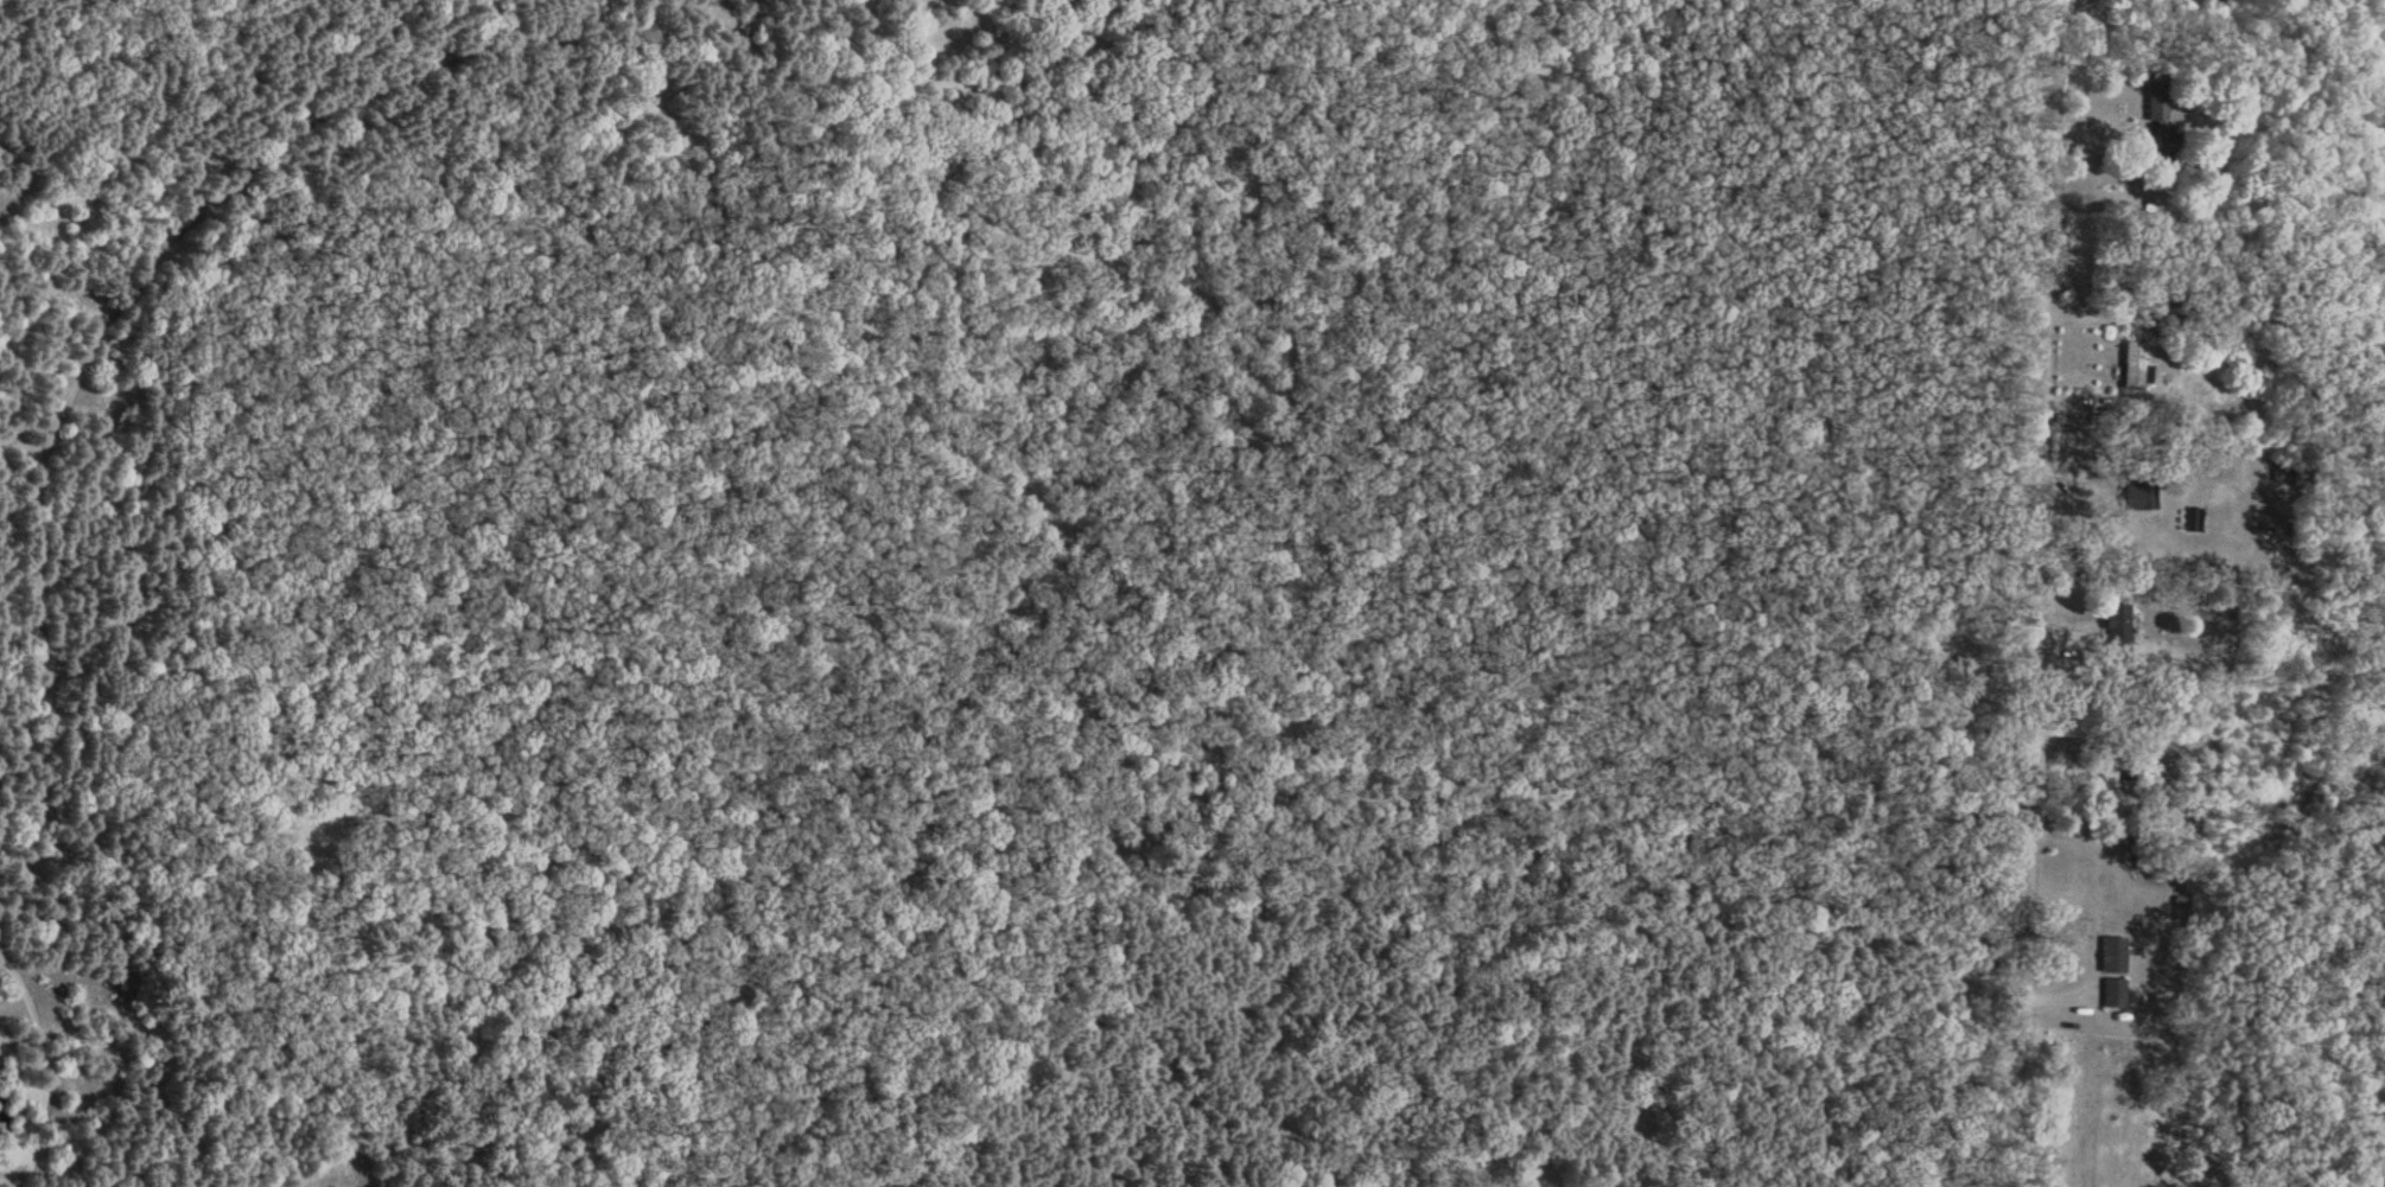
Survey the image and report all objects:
building: (2161, 121)
building: (2132, 369)
building: (2143, 498)
road: (2028, 593)
building: (2114, 634)
building: (2109, 786)
building: (2112, 958)
building: (2112, 996)

